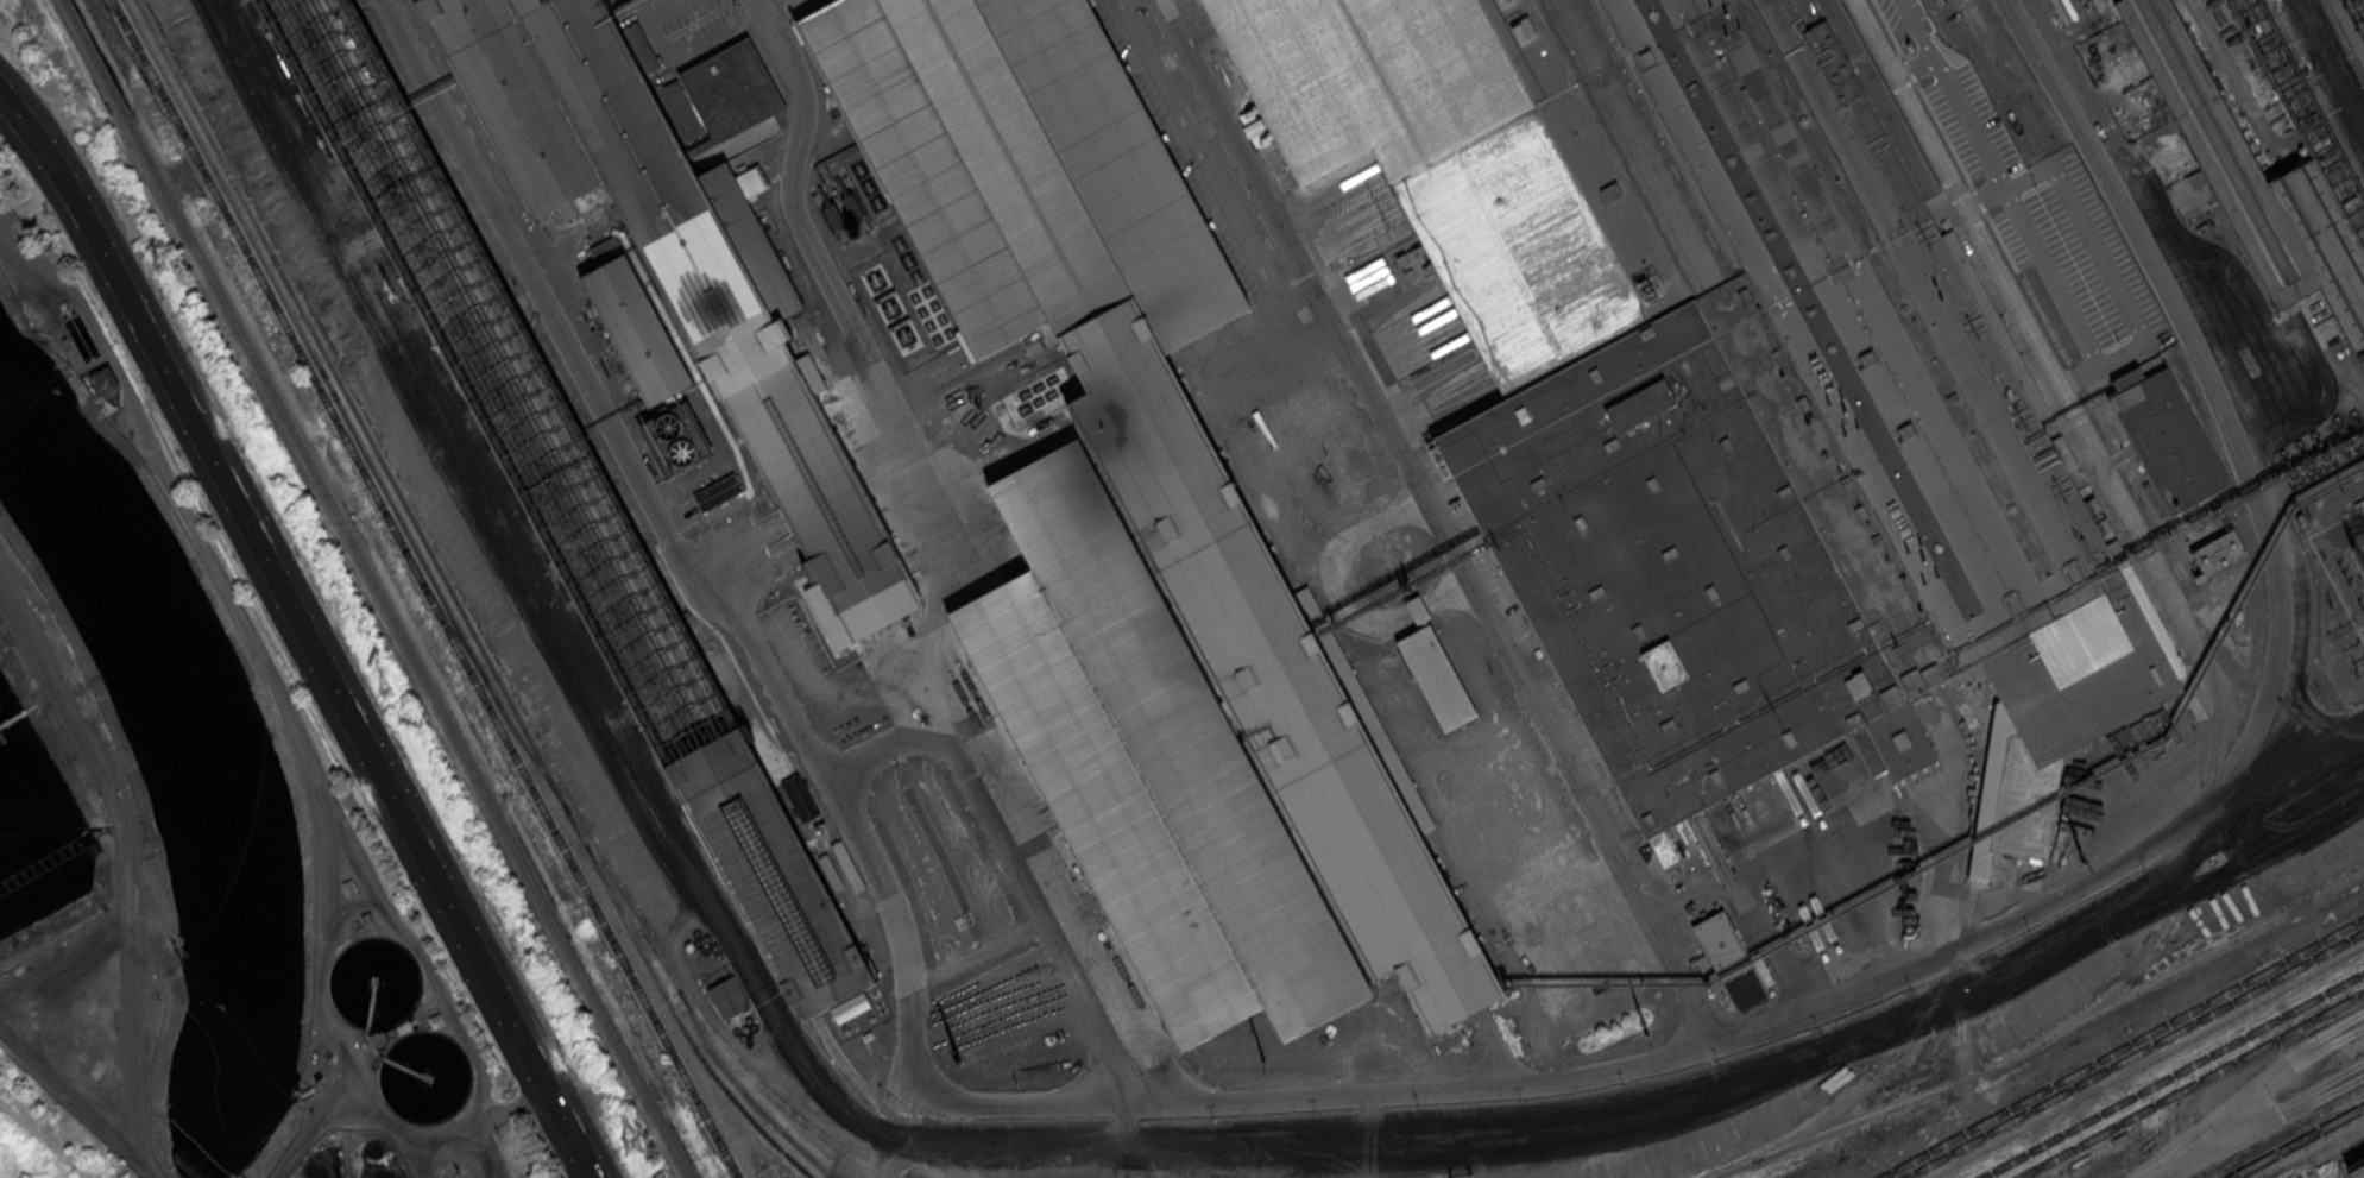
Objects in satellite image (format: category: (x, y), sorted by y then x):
road: (2333, 62)
building: (2255, 182)
building: (681, 247)
building: (1412, 262)
railway: (2015, 263)
power tower: (159, 265)
road: (1354, 285)
railway: (298, 316)
building: (635, 329)
road: (871, 366)
railway: (511, 370)
road: (1425, 380)
building: (102, 384)
building: (1723, 388)
building: (1141, 403)
building: (2166, 436)
railway: (359, 452)
railway: (594, 498)
building: (2358, 505)
road: (1438, 525)
building: (2219, 553)
power substation: (2335, 569)
road: (701, 578)
building: (2198, 578)
road: (537, 584)
railway: (376, 588)
railway: (424, 588)
railway: (437, 588)
railway: (456, 601)
building: (1417, 607)
power tower: (2328, 609)
railway: (452, 625)
road: (303, 634)
railway: (2238, 653)
building: (1435, 675)
power tower: (389, 693)
railway: (532, 755)
road: (2309, 757)
building: (1147, 769)
railway: (2200, 826)
power tower: (2084, 858)
road: (1011, 864)
building: (770, 875)
road: (1988, 937)
building: (1719, 939)
railway: (2185, 964)
building: (729, 999)
railway: (704, 1028)
road: (2349, 1028)
power tower: (1646, 1035)
railway: (1903, 1047)
railway: (2133, 1054)
power tower: (1265, 1058)
power tower: (958, 1059)
railway: (2146, 1060)
railway: (2171, 1075)
road: (2354, 1075)
railway: (2190, 1084)
railway: (746, 1095)
road: (2237, 1104)
railway: (881, 1105)
road: (927, 1115)
railway: (1856, 1120)
railway: (1795, 1128)
road: (2255, 1129)
railway: (813, 1130)
power tower: (635, 1145)
railway: (2319, 1153)
railway: (807, 1155)
building: (2360, 1176)

